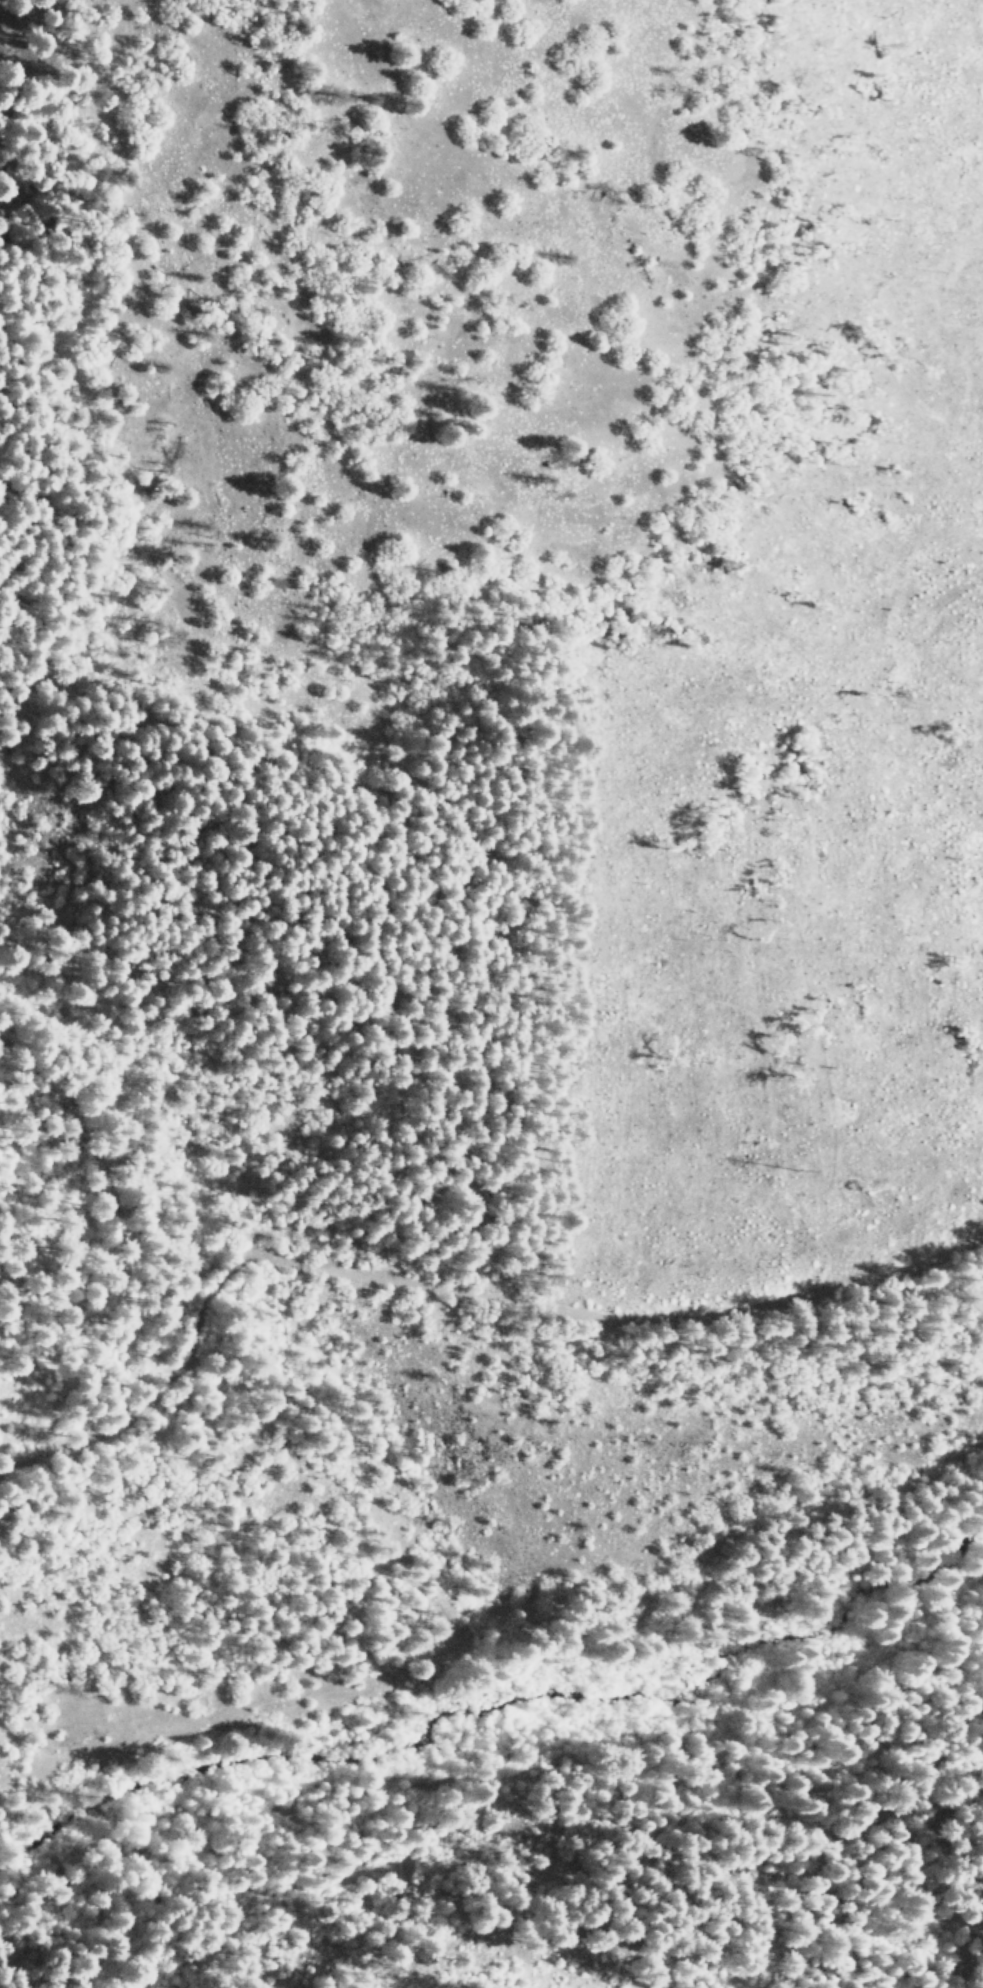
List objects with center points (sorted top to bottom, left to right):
road: (475, 1287)
road: (40, 1303)
road: (32, 1477)
road: (490, 1753)

